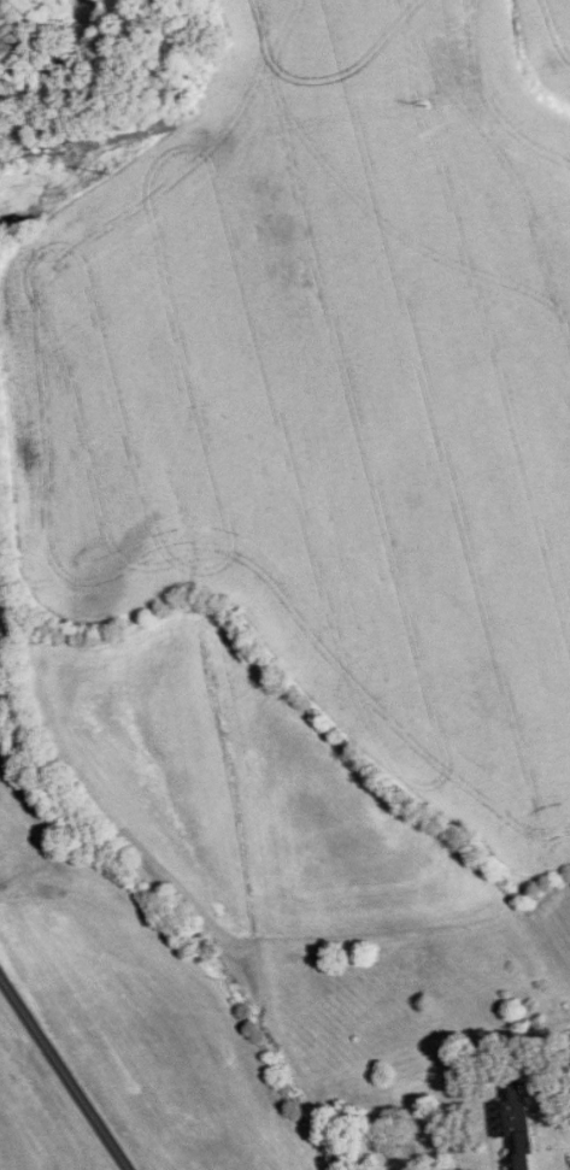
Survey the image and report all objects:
building: (569, 1060)
road: (64, 1074)
building: (512, 1124)

